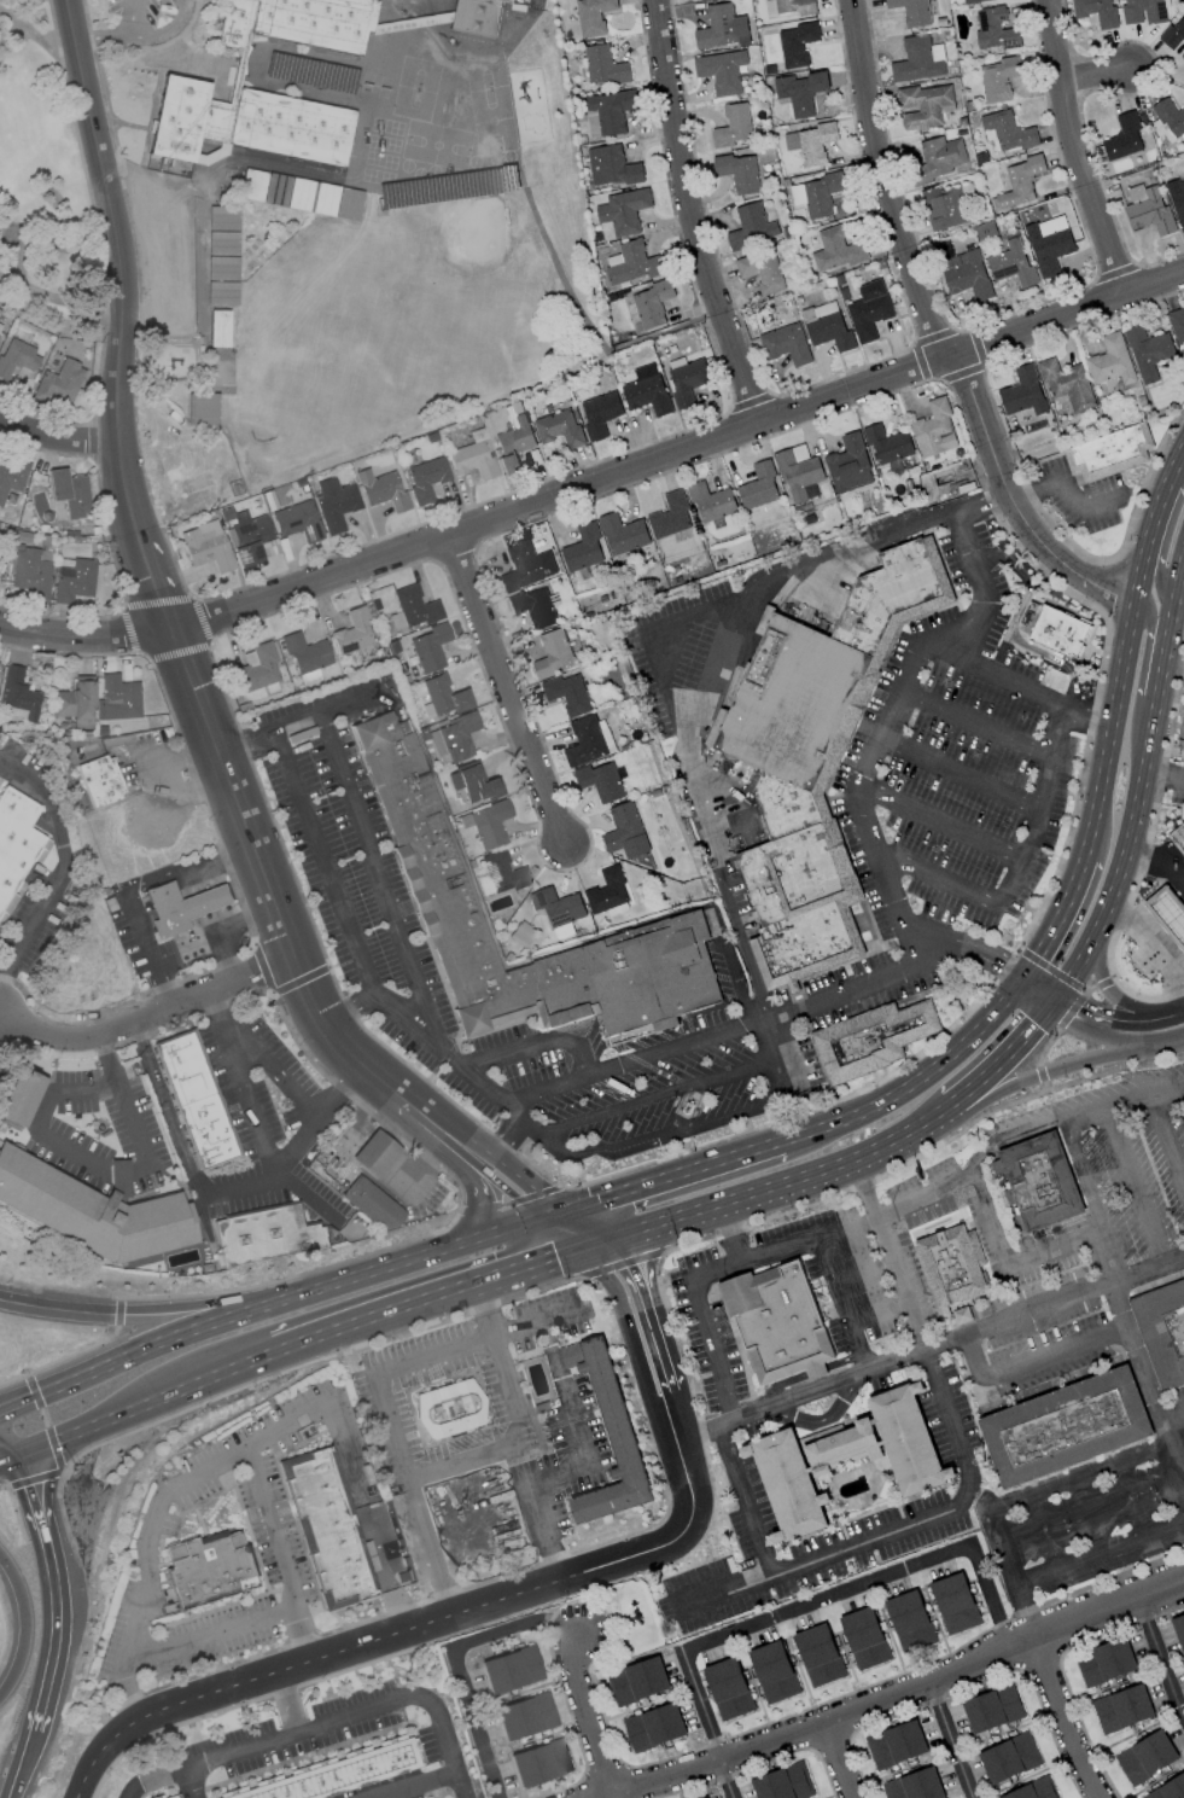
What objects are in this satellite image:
building: (973, 1)
building: (789, 6)
building: (911, 11)
building: (1095, 11)
building: (1143, 11)
road: (128, 16)
building: (476, 16)
building: (593, 16)
building: (722, 28)
building: (995, 29)
building: (1173, 34)
road: (36, 35)
road: (138, 35)
building: (797, 43)
building: (918, 60)
building: (603, 65)
building: (721, 71)
road: (1095, 75)
building: (998, 78)
building: (182, 85)
building: (800, 92)
building: (925, 106)
building: (608, 112)
building: (1171, 117)
building: (733, 127)
building: (1005, 132)
building: (1124, 136)
building: (811, 142)
road: (1069, 151)
building: (940, 156)
building: (611, 167)
building: (739, 173)
building: (1019, 182)
park: (42, 186)
building: (299, 193)
building: (815, 194)
building: (1177, 202)
building: (947, 208)
building: (623, 211)
building: (1150, 213)
road: (693, 215)
building: (751, 227)
building: (985, 231)
road: (168, 238)
building: (221, 243)
building: (1049, 244)
building: (835, 250)
building: (634, 263)
building: (1011, 264)
building: (760, 269)
building: (966, 275)
building: (220, 292)
road: (58, 299)
building: (651, 304)
building: (868, 310)
road: (119, 314)
building: (0, 325)
building: (827, 326)
building: (1177, 326)
building: (217, 327)
road: (935, 334)
building: (786, 344)
building: (1148, 351)
building: (16, 356)
building: (1110, 361)
building: (686, 379)
building: (58, 382)
building: (1067, 384)
building: (647, 391)
building: (1022, 392)
building: (200, 408)
building: (600, 413)
building: (559, 427)
building: (934, 430)
road: (58, 436)
building: (513, 442)
building: (887, 444)
building: (1109, 450)
road: (673, 453)
building: (471, 460)
building: (848, 464)
road: (1178, 464)
building: (799, 473)
building: (12, 476)
building: (425, 477)
building: (758, 487)
building: (381, 489)
road: (1065, 489)
building: (68, 491)
road: (1160, 500)
building: (334, 502)
building: (710, 502)
building: (670, 516)
building: (296, 520)
building: (622, 534)
building: (244, 535)
road: (1149, 543)
building: (205, 545)
building: (583, 548)
road: (1159, 564)
building: (525, 566)
building: (30, 571)
building: (71, 578)
road: (1136, 583)
road: (1179, 583)
road: (1179, 601)
building: (412, 607)
building: (533, 607)
road: (1171, 613)
road: (1151, 623)
road: (1011, 625)
building: (352, 632)
road: (82, 636)
building: (1062, 636)
road: (1165, 638)
building: (428, 647)
building: (553, 653)
parking lot: (689, 654)
building: (305, 656)
road: (657, 661)
road: (1120, 665)
building: (257, 668)
road: (710, 671)
road: (1157, 674)
road: (1016, 682)
road: (503, 688)
building: (567, 694)
building: (442, 696)
building: (118, 697)
building: (75, 702)
road: (297, 722)
road: (974, 722)
road: (1147, 733)
building: (453, 737)
building: (1183, 739)
building: (587, 741)
building: (1183, 747)
parking lot: (960, 753)
building: (816, 756)
road: (958, 773)
road: (157, 775)
road: (1162, 775)
building: (101, 781)
building: (600, 781)
building: (468, 784)
road: (1100, 795)
building: (413, 817)
road: (939, 820)
building: (489, 822)
building: (625, 832)
building: (14, 838)
building: (1178, 838)
road: (1171, 853)
parking lot: (346, 855)
road: (1156, 863)
road: (64, 865)
road: (1015, 869)
building: (502, 872)
road: (197, 877)
road: (261, 879)
road: (380, 880)
road: (1112, 888)
road: (126, 890)
building: (607, 891)
road: (206, 900)
building: (203, 901)
gas station: (203, 901)
building: (165, 910)
building: (558, 910)
building: (1168, 913)
gas station: (1168, 913)
road: (245, 917)
road: (1055, 920)
building: (520, 933)
road: (354, 943)
road: (226, 944)
road: (968, 944)
road: (1161, 947)
road: (914, 952)
traffic signals: (1023, 978)
road: (1, 983)
road: (1042, 987)
traffic signals: (1061, 996)
road: (1114, 999)
road: (212, 1005)
road: (1055, 1005)
road: (348, 1011)
traffic signals: (1050, 1013)
road: (1180, 1013)
road: (147, 1017)
road: (1116, 1022)
road: (2, 1029)
road: (1087, 1031)
road: (223, 1035)
road: (1179, 1038)
building: (871, 1041)
road: (539, 1042)
road: (1005, 1064)
road: (785, 1069)
road: (917, 1078)
road: (1036, 1078)
parking lot: (636, 1087)
road: (661, 1094)
building: (19, 1096)
building: (196, 1100)
road: (165, 1109)
road: (326, 1110)
building: (688, 1110)
road: (932, 1127)
road: (443, 1128)
road: (530, 1129)
flagpole: (105, 1133)
road: (1020, 1133)
road: (665, 1134)
road: (1166, 1139)
road: (343, 1147)
building: (375, 1152)
gas station: (375, 1152)
road: (424, 1159)
road: (103, 1168)
road: (681, 1179)
road: (530, 1182)
road: (244, 1183)
building: (1040, 1183)
road: (1136, 1183)
road: (309, 1193)
road: (508, 1193)
road: (763, 1197)
road: (1091, 1198)
building: (372, 1203)
building: (92, 1209)
road: (483, 1212)
traffic signals: (576, 1214)
road: (560, 1218)
traffic signals: (544, 1223)
road: (596, 1228)
road: (847, 1228)
road: (504, 1234)
road: (728, 1234)
building: (264, 1235)
road: (564, 1238)
traffic signals: (617, 1243)
road: (600, 1247)
traffic signals: (584, 1253)
road: (432, 1256)
road: (1007, 1261)
building: (952, 1269)
road: (523, 1273)
road: (864, 1274)
road: (367, 1276)
road: (695, 1286)
road: (223, 1303)
road: (842, 1303)
road: (56, 1305)
road: (880, 1314)
road: (536, 1321)
building: (780, 1321)
road: (368, 1322)
road: (649, 1327)
building: (1162, 1331)
road: (626, 1333)
road: (165, 1340)
road: (929, 1346)
road: (1034, 1363)
road: (1147, 1372)
road: (806, 1373)
road: (173, 1391)
building: (448, 1409)
road: (1173, 1416)
road: (816, 1418)
building: (614, 1420)
road: (515, 1421)
building: (1065, 1427)
road: (391, 1437)
building: (906, 1439)
road: (48, 1444)
road: (344, 1445)
building: (842, 1449)
road: (12, 1453)
traffic signals: (25, 1455)
road: (12, 1459)
road: (576, 1462)
road: (966, 1476)
road: (1081, 1478)
building: (787, 1483)
road: (175, 1490)
road: (745, 1499)
road: (37, 1500)
road: (1131, 1500)
road: (1092, 1514)
building: (328, 1526)
road: (1045, 1532)
road: (1098, 1553)
building: (211, 1570)
road: (1009, 1576)
building: (955, 1604)
road: (285, 1605)
road: (804, 1605)
building: (909, 1620)
road: (27, 1623)
road: (422, 1624)
building: (1179, 1629)
road: (303, 1631)
road: (57, 1639)
building: (864, 1639)
building: (818, 1656)
road: (1159, 1659)
building: (1104, 1663)
building: (511, 1669)
building: (774, 1672)
building: (637, 1681)
road: (463, 1687)
building: (728, 1688)
road: (126, 1689)
road: (902, 1692)
road: (288, 1701)
building: (992, 1709)
building: (1121, 1709)
building: (524, 1715)
road: (588, 1716)
road: (1063, 1718)
road: (326, 1721)
building: (653, 1727)
road: (949, 1740)
building: (896, 1745)
building: (1145, 1757)
building: (1009, 1758)
road: (838, 1761)
building: (539, 1762)
road: (22, 1764)
building: (336, 1773)
road: (189, 1782)
road: (413, 1782)
building: (783, 1784)
building: (914, 1786)
building: (1168, 1788)
building: (1032, 1791)
building: (175, 1796)

